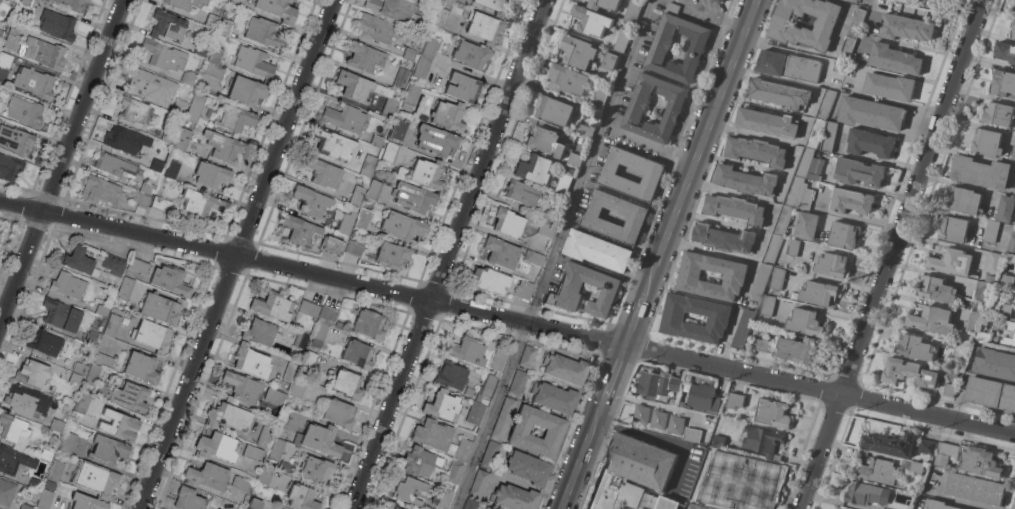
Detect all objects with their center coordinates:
building: (454, 0)
building: (621, 0)
building: (718, 1)
building: (185, 3)
building: (7, 4)
building: (604, 4)
building: (74, 5)
building: (496, 7)
building: (391, 8)
building: (277, 9)
building: (671, 9)
building: (632, 11)
building: (1014, 12)
building: (440, 17)
building: (211, 21)
building: (590, 21)
building: (419, 23)
building: (57, 24)
building: (168, 25)
building: (14, 27)
building: (225, 27)
building: (374, 27)
building: (484, 27)
building: (784, 28)
building: (905, 28)
building: (1013, 28)
building: (263, 32)
building: (852, 32)
building: (1, 33)
building: (621, 41)
building: (415, 46)
building: (660, 46)
building: (434, 47)
building: (200, 49)
building: (578, 52)
building: (1005, 52)
building: (44, 54)
building: (409, 54)
building: (214, 55)
building: (471, 55)
building: (166, 56)
building: (363, 56)
building: (610, 59)
building: (894, 59)
building: (5, 60)
building: (254, 62)
building: (788, 66)
building: (838, 66)
building: (424, 70)
building: (213, 71)
building: (188, 78)
building: (400, 79)
building: (567, 79)
building: (34, 82)
building: (1003, 83)
building: (150, 84)
building: (889, 86)
building: (463, 88)
building: (247, 90)
building: (365, 91)
building: (778, 93)
building: (410, 97)
building: (599, 98)
building: (825, 104)
building: (637, 105)
building: (179, 106)
building: (195, 107)
building: (132, 110)
building: (553, 110)
building: (25, 112)
building: (871, 113)
building: (998, 114)
building: (448, 116)
building: (344, 117)
building: (234, 118)
building: (766, 123)
building: (397, 130)
building: (582, 130)
building: (814, 134)
building: (169, 136)
building: (183, 137)
building: (829, 137)
building: (125, 139)
building: (435, 139)
building: (15, 140)
building: (377, 141)
road: (648, 141)
building: (545, 142)
building: (870, 143)
building: (986, 143)
building: (333, 145)
road: (698, 146)
building: (223, 147)
building: (755, 151)
building: (390, 153)
building: (1013, 153)
building: (574, 160)
road: (61, 161)
road: (587, 162)
building: (114, 164)
building: (156, 165)
building: (368, 165)
building: (10, 167)
building: (172, 168)
building: (534, 169)
building: (815, 170)
building: (859, 172)
building: (980, 172)
building: (323, 173)
building: (426, 173)
building: (653, 174)
building: (211, 175)
building: (798, 177)
building: (745, 181)
building: (564, 182)
road: (785, 183)
building: (147, 188)
building: (373, 190)
building: (101, 191)
building: (1014, 191)
building: (521, 193)
building: (357, 195)
building: (413, 197)
building: (804, 198)
building: (141, 199)
building: (965, 200)
building: (310, 201)
building: (850, 201)
building: (199, 202)
building: (162, 204)
building: (734, 209)
building: (1005, 209)
building: (546, 217)
building: (636, 217)
building: (363, 218)
building: (782, 221)
building: (346, 223)
building: (507, 223)
building: (805, 225)
building: (402, 226)
building: (545, 229)
building: (953, 229)
building: (300, 230)
building: (990, 232)
building: (843, 235)
building: (723, 239)
building: (331, 245)
building: (792, 247)
building: (1011, 247)
building: (354, 248)
building: (771, 249)
building: (597, 251)
building: (500, 252)
road: (237, 254)
road: (447, 254)
road: (892, 254)
building: (391, 255)
building: (534, 257)
building: (78, 261)
building: (951, 262)
building: (992, 263)
building: (113, 264)
building: (138, 264)
building: (831, 265)
building: (734, 277)
building: (989, 278)
building: (777, 279)
building: (170, 280)
building: (488, 280)
building: (1007, 281)
building: (759, 283)
building: (67, 285)
building: (124, 289)
building: (523, 290)
building: (935, 290)
building: (568, 291)
building: (982, 292)
building: (819, 293)
building: (790, 295)
road: (420, 298)
building: (271, 306)
building: (767, 306)
building: (162, 308)
building: (101, 310)
building: (308, 310)
building: (1004, 310)
building: (61, 314)
building: (326, 315)
road: (634, 319)
building: (672, 320)
building: (931, 320)
building: (804, 322)
building: (972, 322)
building: (368, 324)
building: (112, 325)
building: (340, 326)
building: (742, 329)
building: (93, 330)
building: (258, 332)
building: (1010, 334)
building: (318, 335)
building: (152, 336)
building: (983, 337)
building: (301, 340)
building: (44, 342)
building: (764, 346)
building: (914, 348)
building: (797, 350)
building: (959, 350)
building: (466, 351)
building: (357, 354)
building: (528, 357)
building: (498, 358)
building: (103, 359)
building: (309, 360)
building: (251, 361)
building: (994, 363)
building: (141, 367)
building: (79, 368)
building: (565, 368)
building: (290, 371)
building: (908, 373)
building: (32, 374)
building: (92, 374)
building: (451, 375)
building: (950, 376)
building: (75, 378)
road: (611, 379)
building: (518, 382)
building: (347, 383)
building: (656, 386)
building: (296, 387)
building: (241, 388)
building: (486, 389)
building: (102, 390)
building: (948, 390)
building: (991, 393)
building: (129, 396)
building: (275, 396)
building: (553, 397)
building: (703, 397)
building: (28, 400)
building: (735, 400)
building: (81, 403)
building: (441, 405)
building: (339, 413)
building: (475, 413)
building: (640, 414)
building: (771, 414)
road: (928, 414)
building: (227, 416)
road: (489, 416)
building: (502, 419)
building: (658, 419)
building: (119, 425)
building: (675, 425)
building: (57, 426)
building: (14, 430)
building: (879, 431)
building: (553, 432)
building: (432, 434)
building: (692, 435)
building: (264, 436)
building: (312, 439)
building: (762, 440)
building: (718, 441)
building: (67, 442)
building: (889, 444)
building: (215, 446)
building: (926, 447)
building: (108, 449)
building: (276, 449)
building: (459, 449)
building: (253, 453)
building: (47, 454)
building: (944, 454)
building: (489, 455)
building: (14, 460)
building: (420, 461)
road: (578, 461)
building: (980, 462)
building: (286, 467)
building: (527, 467)
building: (912, 467)
building: (316, 470)
building: (706, 470)
building: (752, 470)
building: (874, 470)
building: (56, 471)
building: (454, 471)
building: (631, 472)
building: (265, 475)
building: (207, 476)
building: (96, 479)
building: (35, 483)
building: (478, 483)
building: (241, 484)
building: (50, 485)
building: (974, 489)
building: (408, 490)
building: (6, 492)
building: (866, 494)
building: (301, 497)
building: (444, 497)
building: (514, 497)
building: (743, 497)
building: (45, 499)
building: (188, 499)
road: (948, 499)
building: (703, 501)
building: (87, 502)
building: (255, 503)
building: (667, 503)
building: (470, 504)
building: (390, 505)
building: (937, 505)
building: (26, 506)
building: (488, 508)
building: (639, 508)
building: (641, 508)
building: (840, 508)

